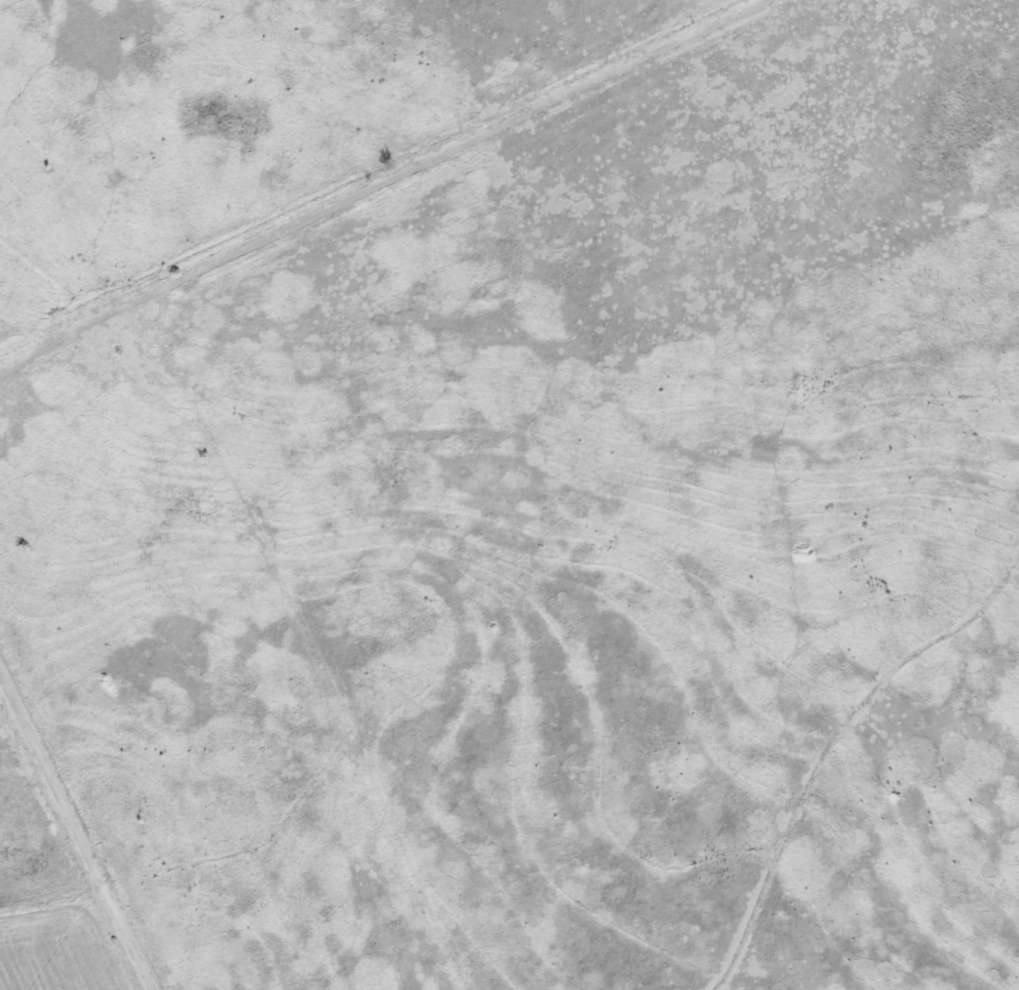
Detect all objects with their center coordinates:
road: (79, 824)

